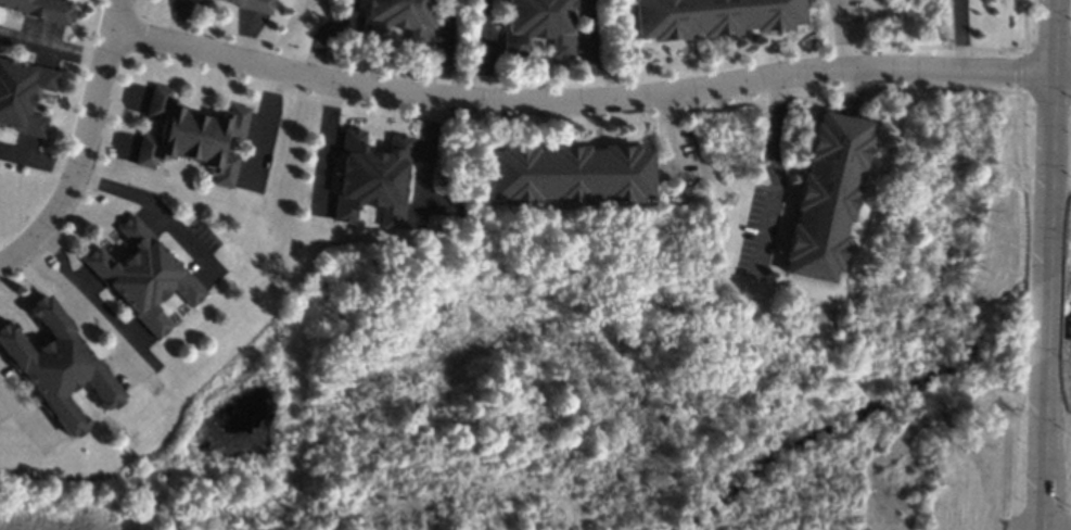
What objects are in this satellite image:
building: (254, 4)
building: (40, 9)
building: (711, 16)
building: (398, 22)
building: (537, 26)
road: (323, 29)
road: (843, 35)
road: (960, 37)
road: (54, 50)
road: (445, 52)
road: (485, 52)
road: (585, 52)
road: (1061, 77)
building: (22, 96)
road: (582, 104)
building: (189, 135)
road: (668, 137)
road: (1049, 137)
road: (87, 141)
road: (328, 144)
road: (423, 162)
road: (39, 163)
building: (568, 173)
road: (774, 174)
building: (370, 178)
building: (824, 197)
road: (143, 201)
road: (8, 266)
building: (140, 275)
road: (88, 302)
road: (1045, 317)
building: (55, 366)
park: (679, 394)
road: (20, 408)
road: (1041, 444)

